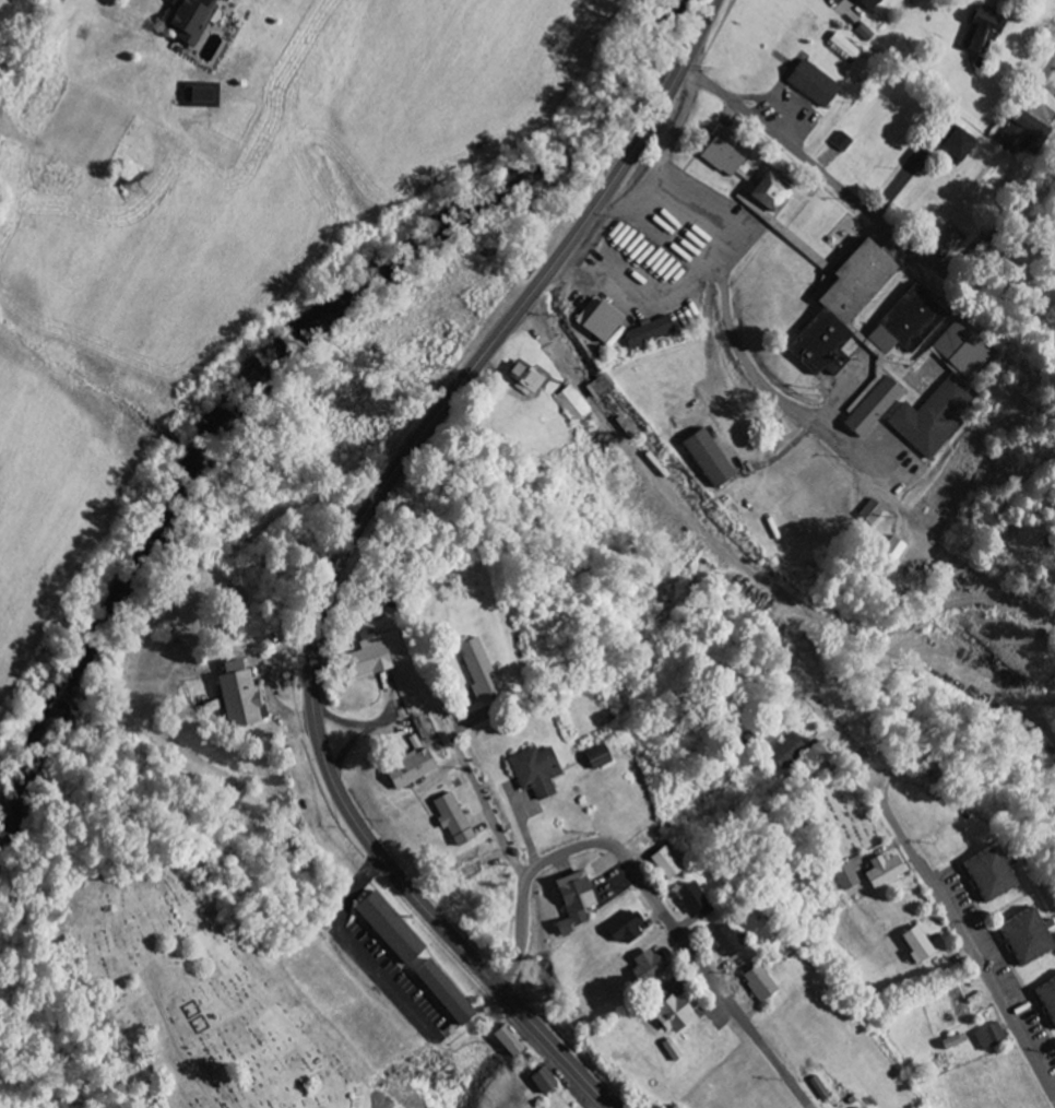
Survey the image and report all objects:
building: (223, 0)
building: (866, 3)
building: (187, 20)
building: (979, 30)
building: (846, 50)
road: (31, 57)
road: (1044, 76)
building: (809, 83)
building: (200, 95)
building: (1016, 132)
building: (839, 142)
building: (950, 142)
building: (722, 152)
road: (807, 164)
building: (766, 193)
building: (943, 243)
building: (828, 297)
building: (906, 322)
building: (600, 323)
building: (647, 332)
road: (735, 340)
building: (523, 379)
building: (600, 386)
building: (941, 394)
building: (571, 404)
building: (868, 408)
building: (706, 458)
building: (868, 514)
building: (889, 551)
road: (344, 552)
building: (365, 657)
building: (474, 668)
building: (235, 697)
building: (783, 752)
building: (593, 758)
building: (407, 769)
building: (533, 771)
park: (826, 808)
road: (493, 816)
building: (450, 818)
building: (662, 864)
building: (880, 872)
building: (983, 876)
building: (842, 877)
road: (648, 895)
building: (571, 901)
building: (690, 903)
building: (383, 929)
building: (621, 929)
building: (1022, 936)
road: (971, 941)
building: (722, 942)
building: (912, 945)
building: (647, 966)
building: (755, 985)
park: (199, 992)
building: (439, 993)
building: (1046, 1002)
building: (667, 1015)
building: (987, 1037)
building: (505, 1041)
building: (951, 1042)
building: (540, 1082)
building: (816, 1088)

